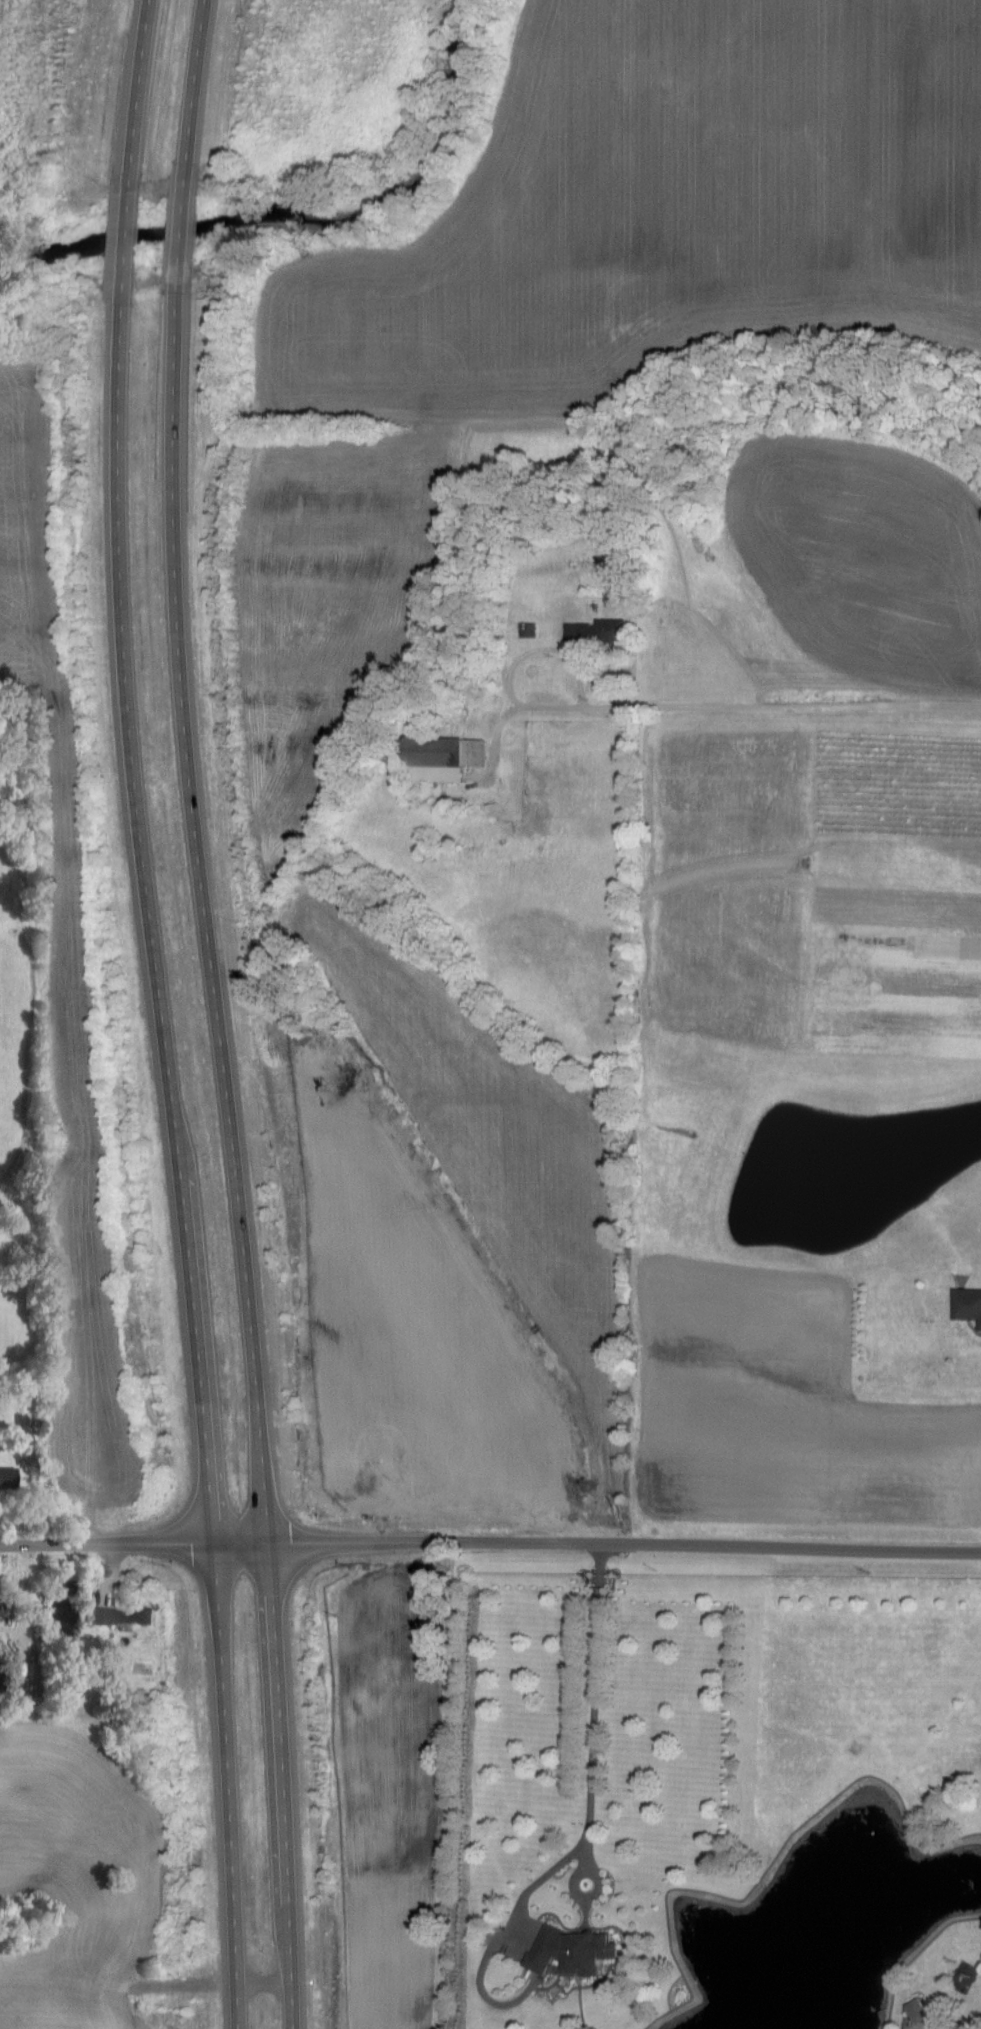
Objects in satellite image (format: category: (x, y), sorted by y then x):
building: (601, 631)
road: (749, 706)
building: (451, 758)
road: (220, 1013)
road: (160, 1014)
building: (969, 1303)
building: (9, 1476)
road: (490, 1541)
building: (123, 1618)
building: (40, 1665)
road: (592, 1706)
road: (573, 1883)
building: (577, 1951)
building: (922, 2010)
road: (973, 2025)

